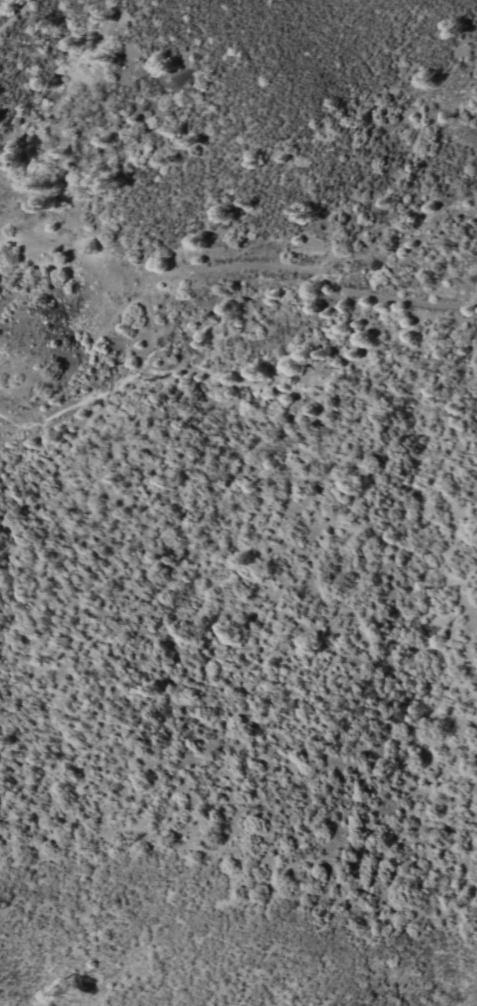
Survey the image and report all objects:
road: (230, 268)

